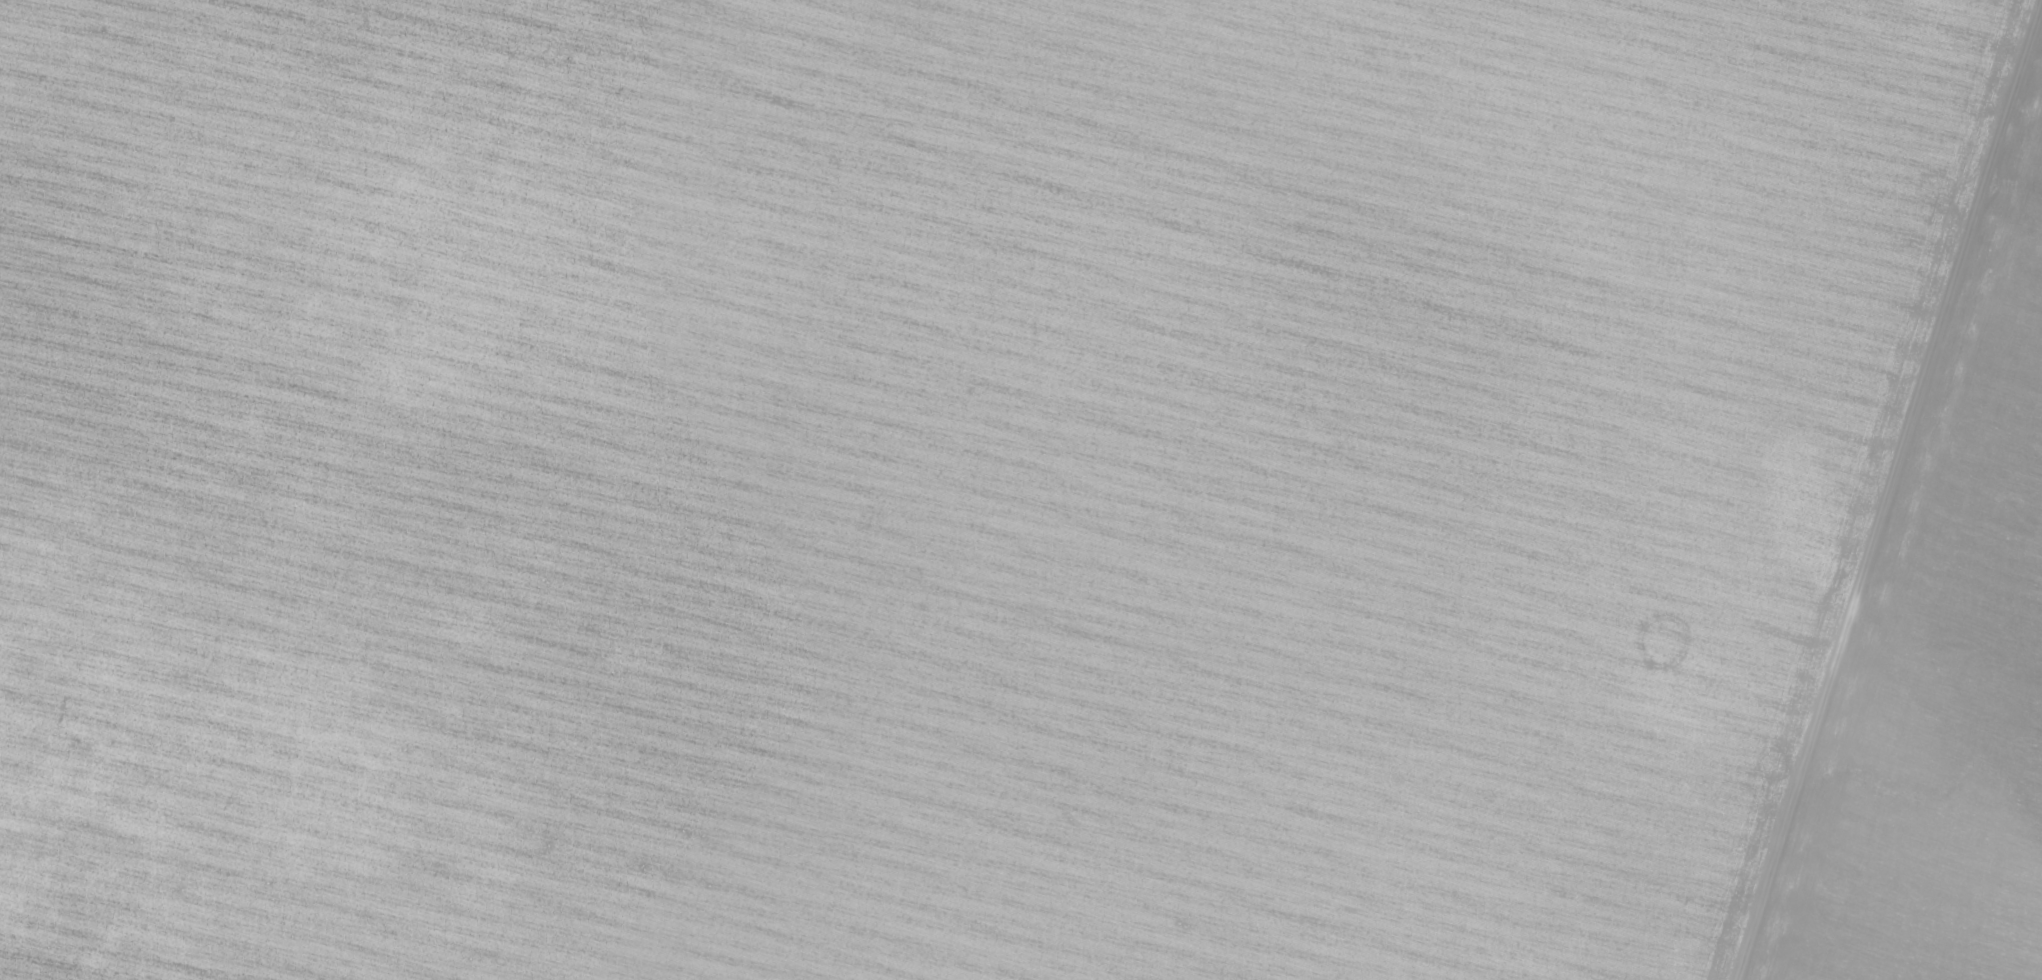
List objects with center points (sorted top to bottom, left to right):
road: (1898, 504)

